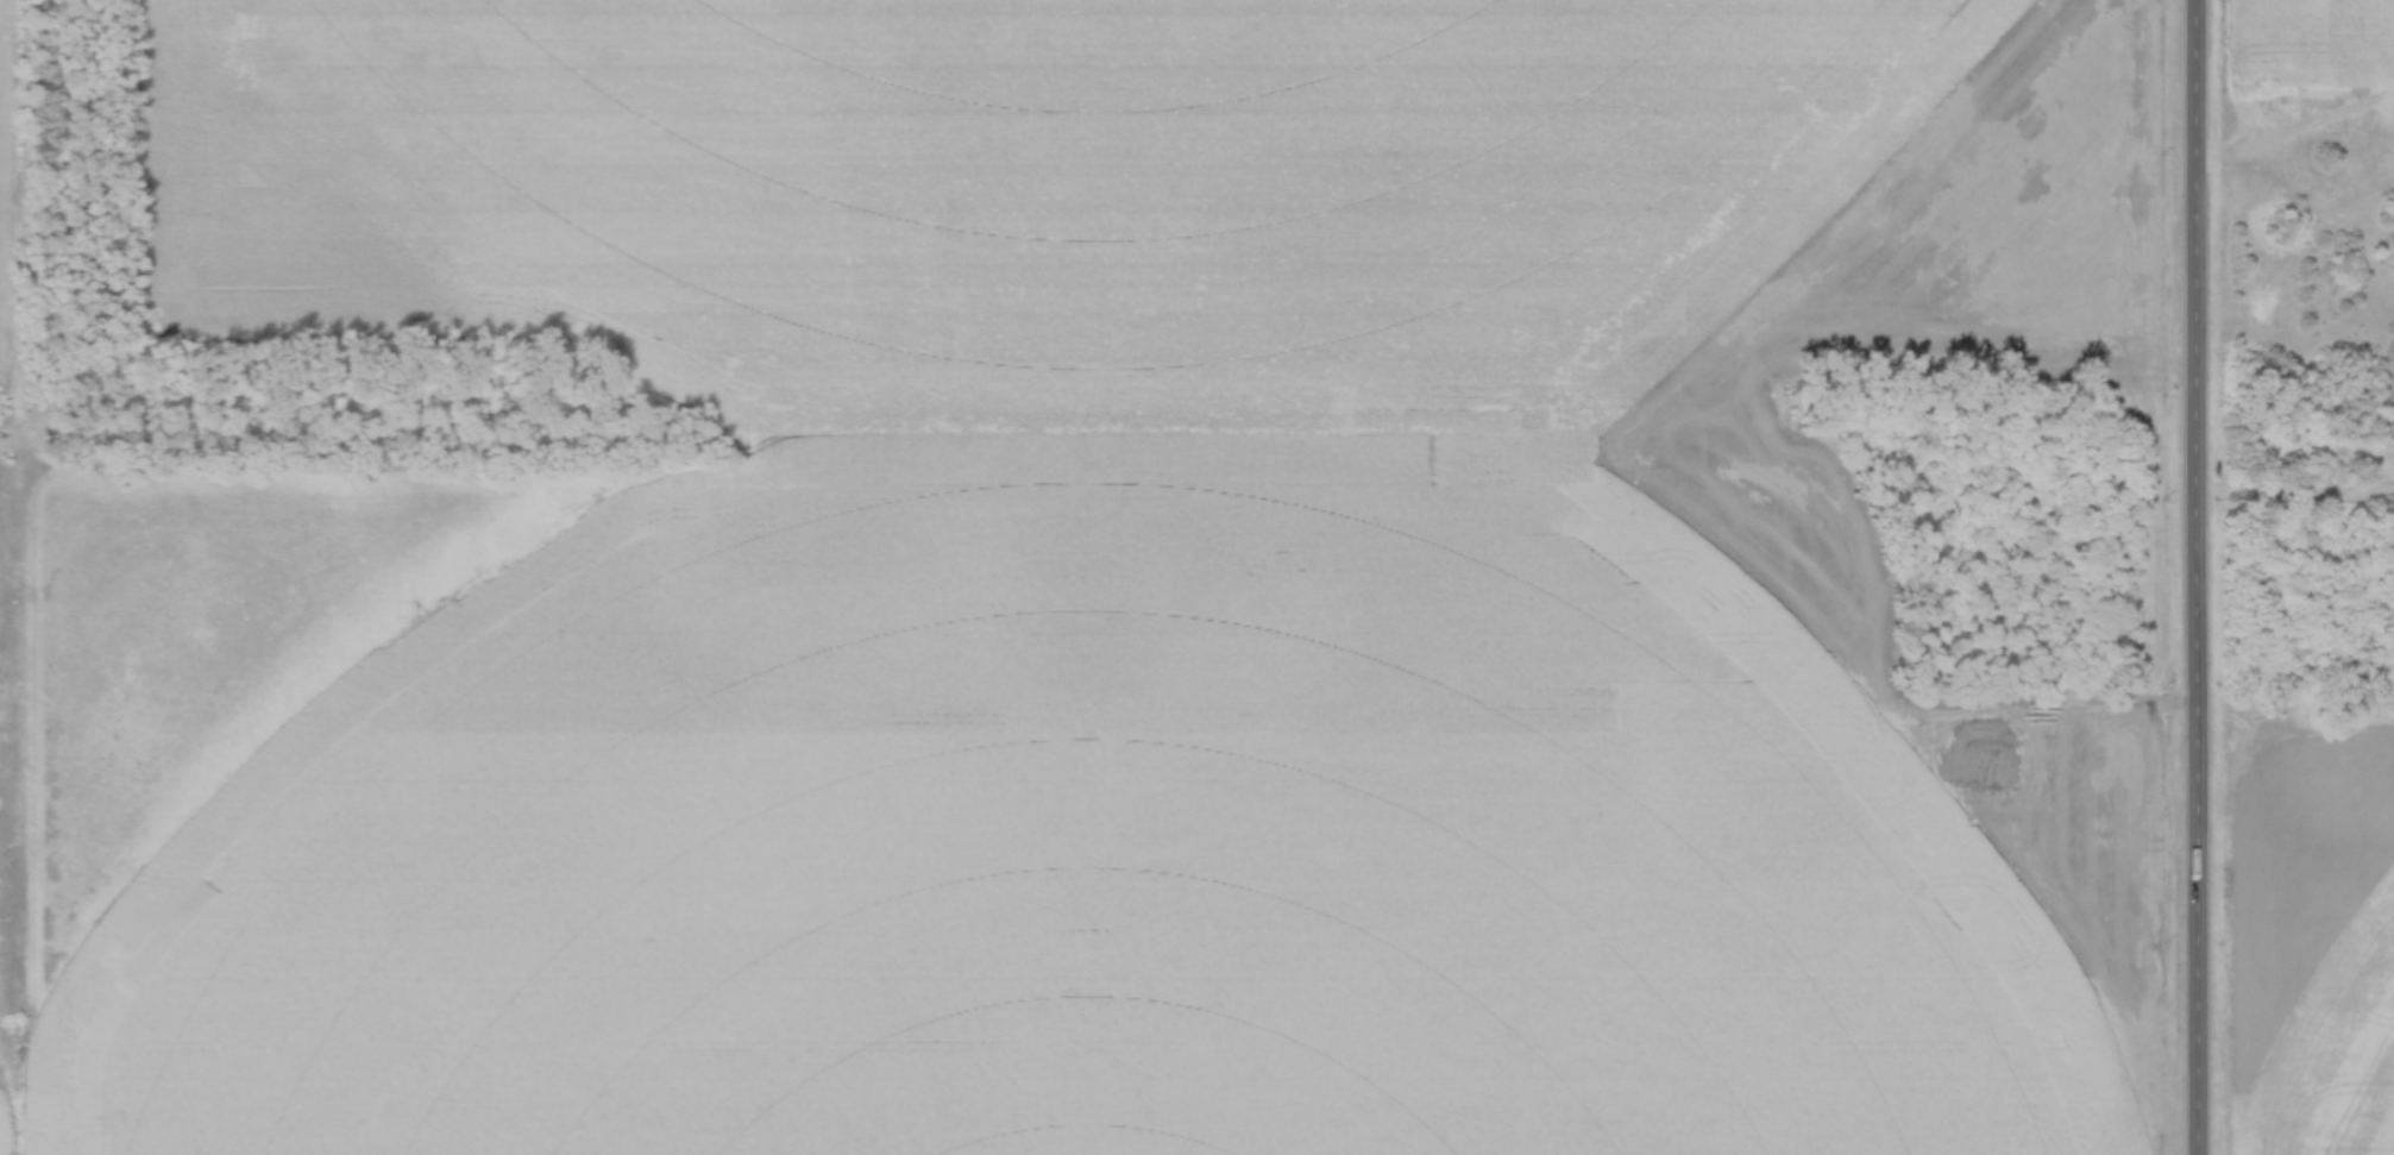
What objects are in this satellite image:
road: (2199, 577)

